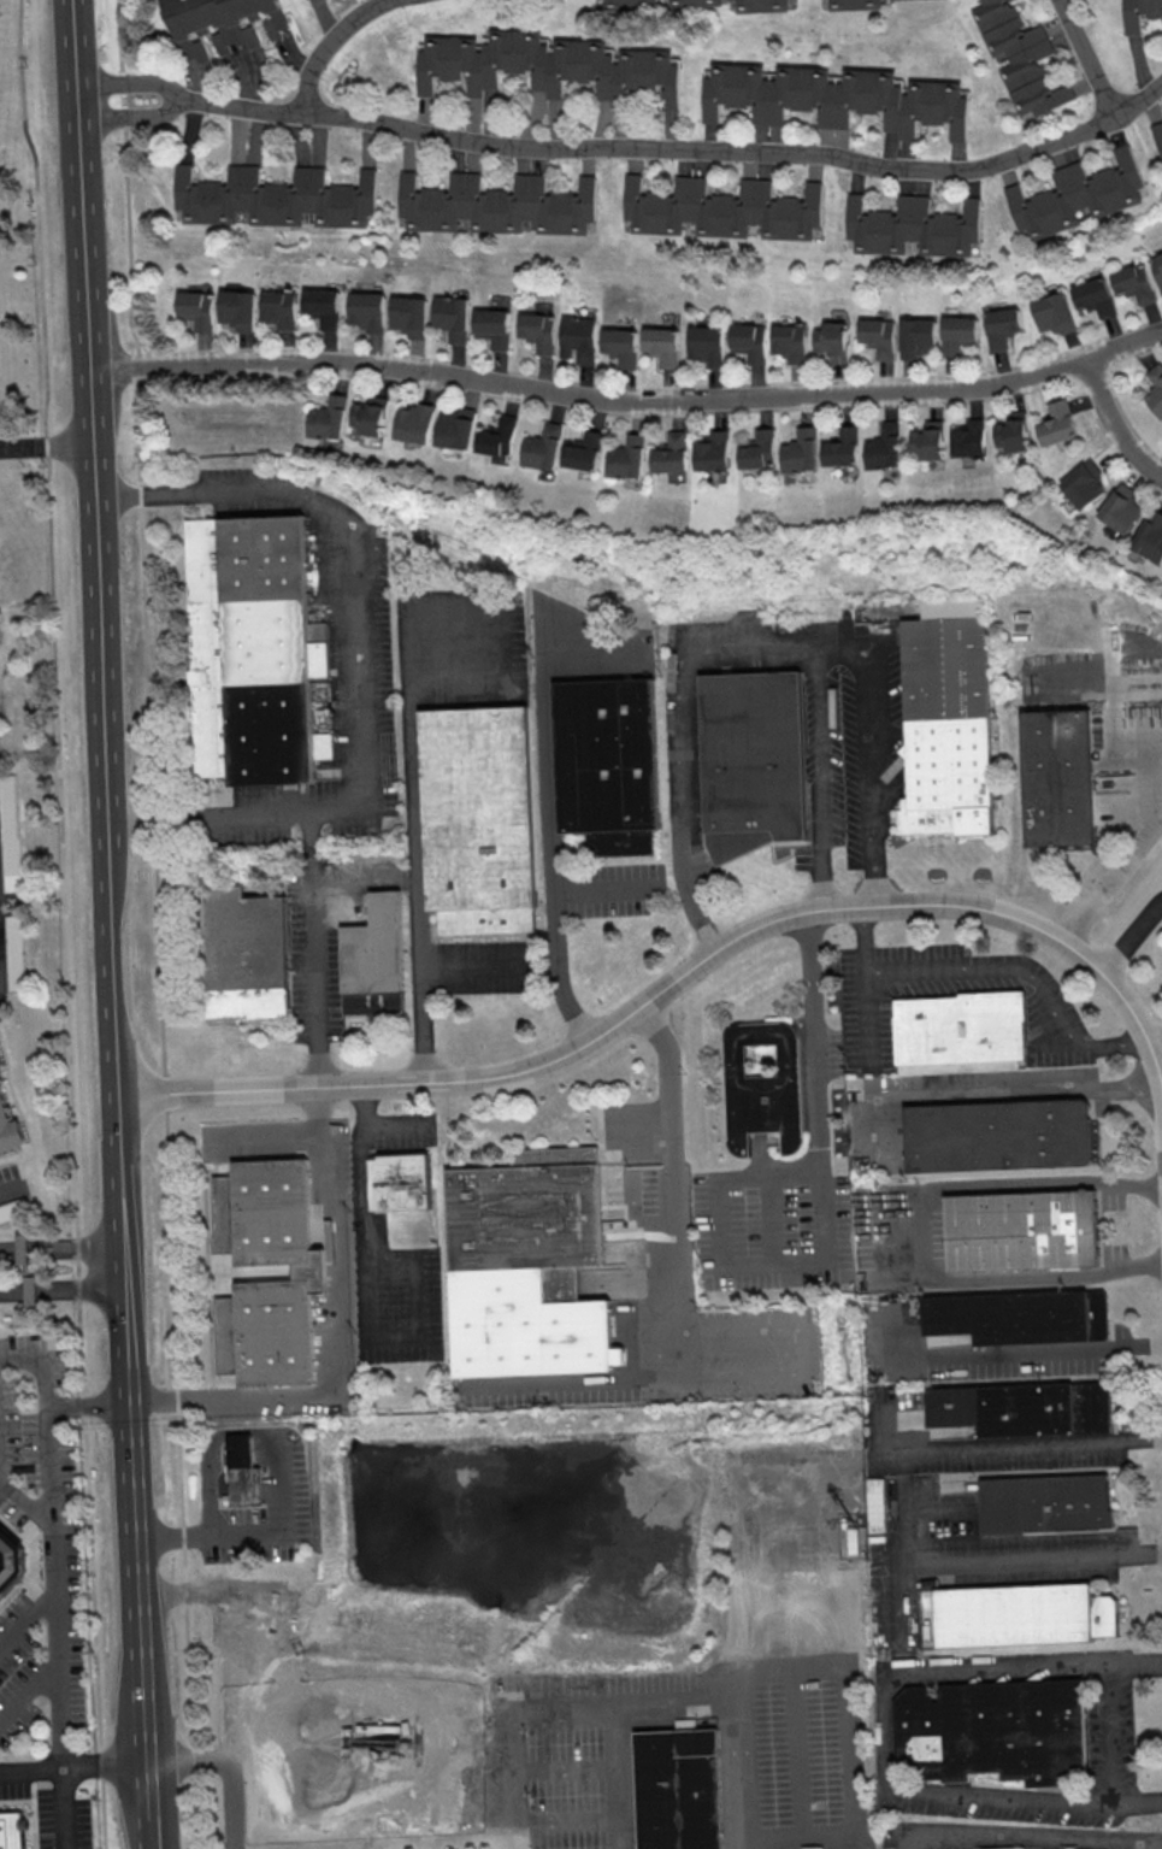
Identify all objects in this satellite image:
building: (695, 2)
building: (626, 4)
building: (853, 4)
building: (761, 5)
building: (1140, 13)
building: (222, 23)
road: (72, 29)
road: (325, 41)
building: (1020, 57)
road: (1089, 58)
building: (549, 65)
road: (132, 86)
building: (836, 96)
road: (134, 111)
building: (1158, 135)
road: (684, 152)
building: (1078, 195)
building: (271, 198)
building: (495, 205)
building: (722, 208)
building: (913, 226)
building: (1157, 269)
building: (1133, 283)
building: (1093, 296)
building: (318, 306)
building: (277, 307)
building: (193, 308)
building: (235, 310)
building: (362, 310)
building: (406, 313)
building: (447, 313)
building: (1052, 313)
building: (489, 326)
building: (1001, 326)
building: (533, 330)
building: (574, 334)
building: (956, 334)
building: (877, 337)
building: (916, 337)
building: (830, 340)
building: (745, 341)
building: (788, 341)
building: (703, 345)
building: (617, 346)
building: (657, 346)
building: (1155, 388)
road: (627, 401)
building: (368, 416)
building: (326, 419)
building: (414, 423)
building: (1057, 423)
road: (1115, 423)
building: (454, 429)
building: (1013, 431)
building: (496, 436)
building: (968, 438)
road: (90, 440)
building: (928, 440)
building: (842, 447)
building: (884, 447)
road: (60, 448)
building: (541, 449)
building: (759, 449)
road: (16, 451)
building: (584, 451)
building: (713, 451)
building: (801, 451)
building: (671, 453)
building: (626, 457)
building: (1084, 484)
building: (1122, 508)
road: (141, 536)
building: (1151, 536)
road: (346, 554)
building: (250, 650)
road: (866, 666)
building: (949, 720)
road: (678, 754)
building: (753, 762)
building: (609, 764)
building: (1060, 778)
road: (818, 779)
road: (412, 814)
road: (207, 818)
building: (478, 819)
road: (1136, 847)
road: (309, 850)
road: (547, 855)
street lamp: (936, 873)
street lamp: (980, 873)
road: (362, 875)
road: (617, 884)
road: (686, 887)
road: (64, 923)
road: (1129, 936)
building: (10, 952)
building: (246, 954)
building: (373, 960)
road: (478, 965)
parking lot: (482, 966)
road: (990, 968)
road: (677, 977)
road: (312, 988)
building: (961, 1029)
road: (1152, 1034)
building: (0, 1064)
building: (0, 1065)
road: (667, 1077)
building: (765, 1088)
road: (117, 1091)
road: (991, 1091)
road: (165, 1093)
road: (317, 1108)
road: (395, 1121)
building: (8, 1129)
road: (265, 1131)
building: (999, 1135)
road: (778, 1172)
building: (400, 1183)
road: (7, 1191)
building: (529, 1217)
building: (1022, 1231)
road: (920, 1233)
road: (821, 1237)
road: (76, 1252)
road: (13, 1253)
building: (309, 1274)
road: (81, 1292)
road: (18, 1295)
road: (366, 1296)
building: (1020, 1318)
road: (1021, 1352)
road: (334, 1360)
road: (677, 1376)
road: (90, 1403)
building: (1021, 1409)
road: (49, 1418)
road: (996, 1448)
road: (0, 1468)
building: (243, 1470)
road: (181, 1478)
building: (1045, 1503)
building: (874, 1504)
road: (26, 1507)
parking lot: (261, 1519)
road: (283, 1529)
road: (169, 1533)
parking lot: (60, 1557)
road: (1026, 1557)
building: (10, 1560)
road: (138, 1561)
road: (890, 1565)
building: (1025, 1615)
road: (28, 1619)
road: (30, 1689)
road: (60, 1689)
road: (678, 1702)
road: (893, 1730)
building: (996, 1731)
road: (851, 1737)
road: (75, 1765)
road: (226, 1767)
building: (678, 1789)
road: (151, 1806)
parking lot: (48, 1809)
building: (12, 1831)
road: (1021, 1844)
road: (1149, 1844)
building: (814, 1848)
building: (1018, 1848)

